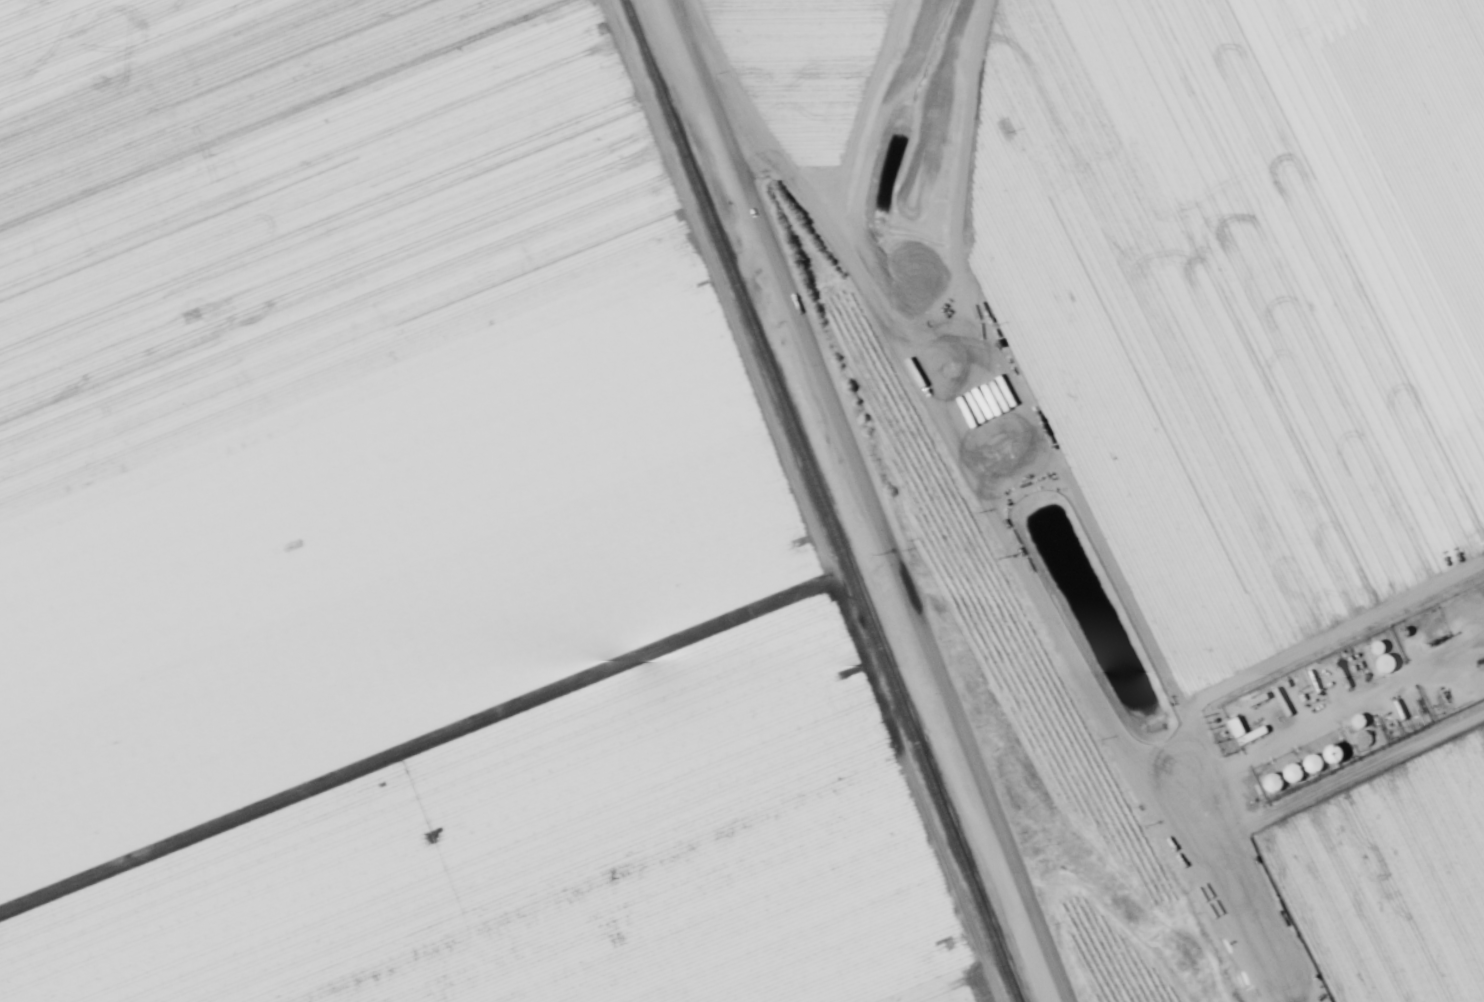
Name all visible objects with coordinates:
road: (876, 275)
crop: (1178, 446)
road: (876, 500)
railway: (815, 503)
road: (1066, 536)
crop: (401, 542)
road: (453, 878)

